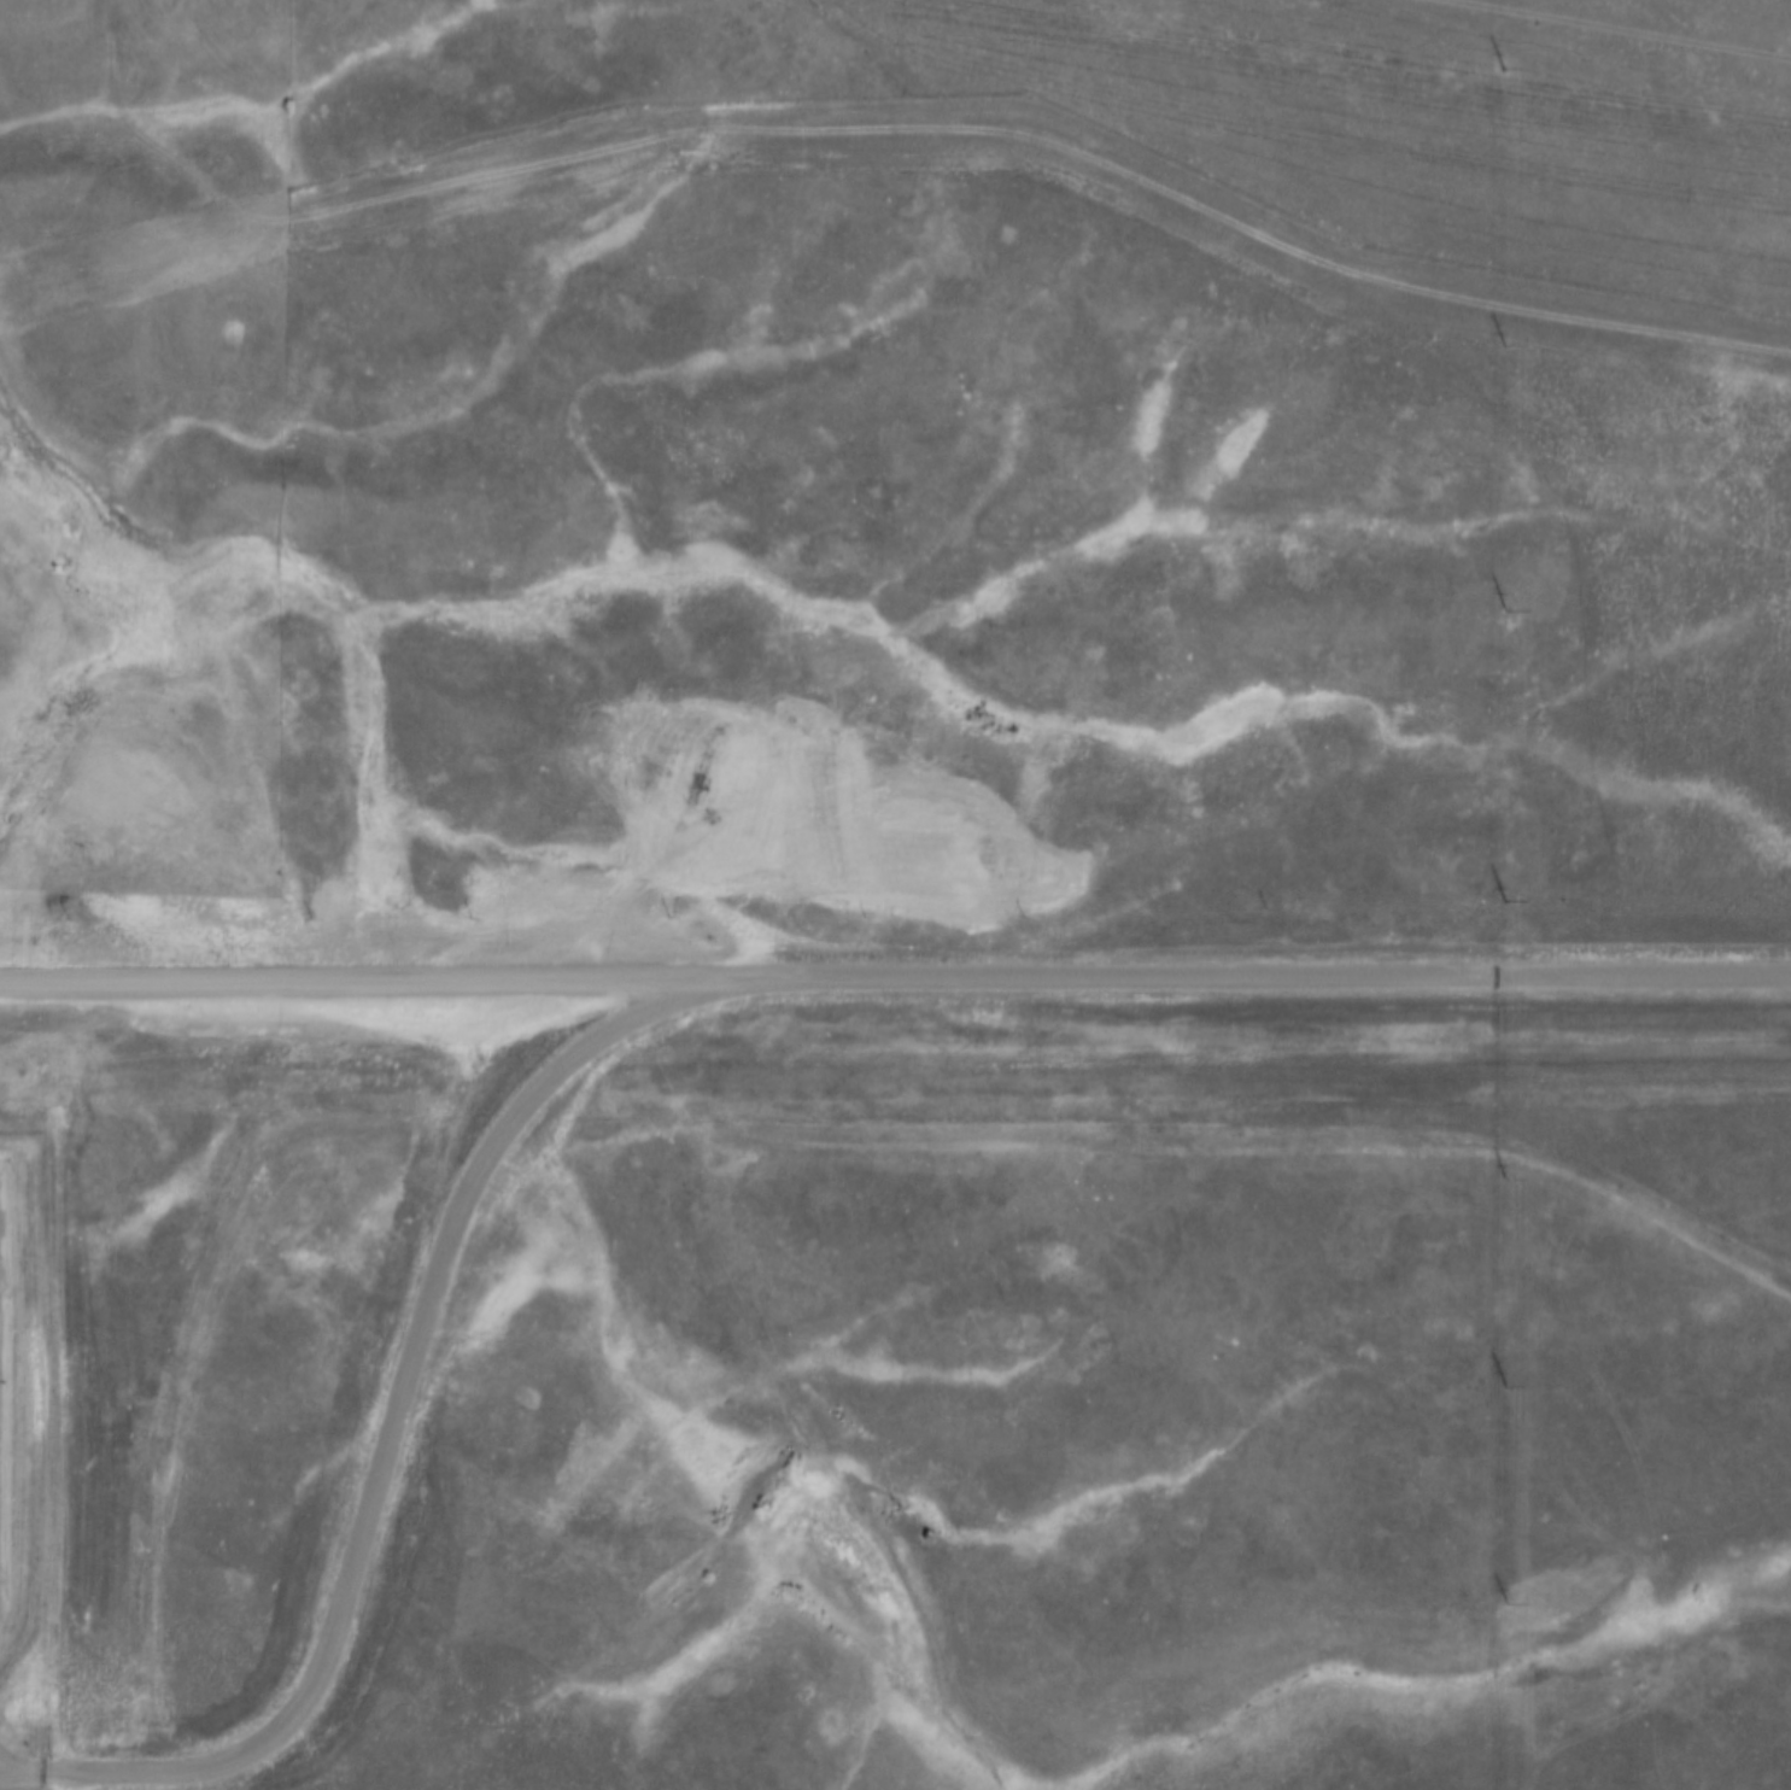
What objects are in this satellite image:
road: (656, 1010)

